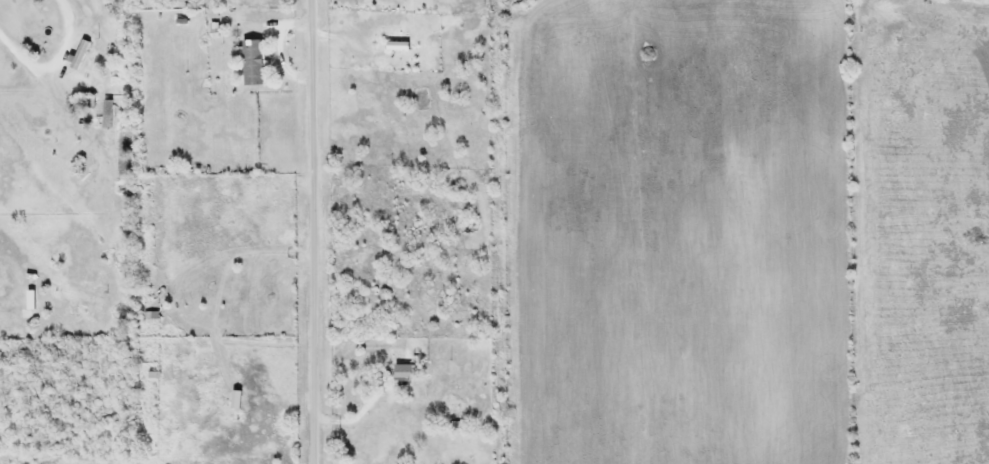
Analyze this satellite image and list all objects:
building: (81, 53)
building: (255, 62)
road: (310, 232)
building: (391, 402)

